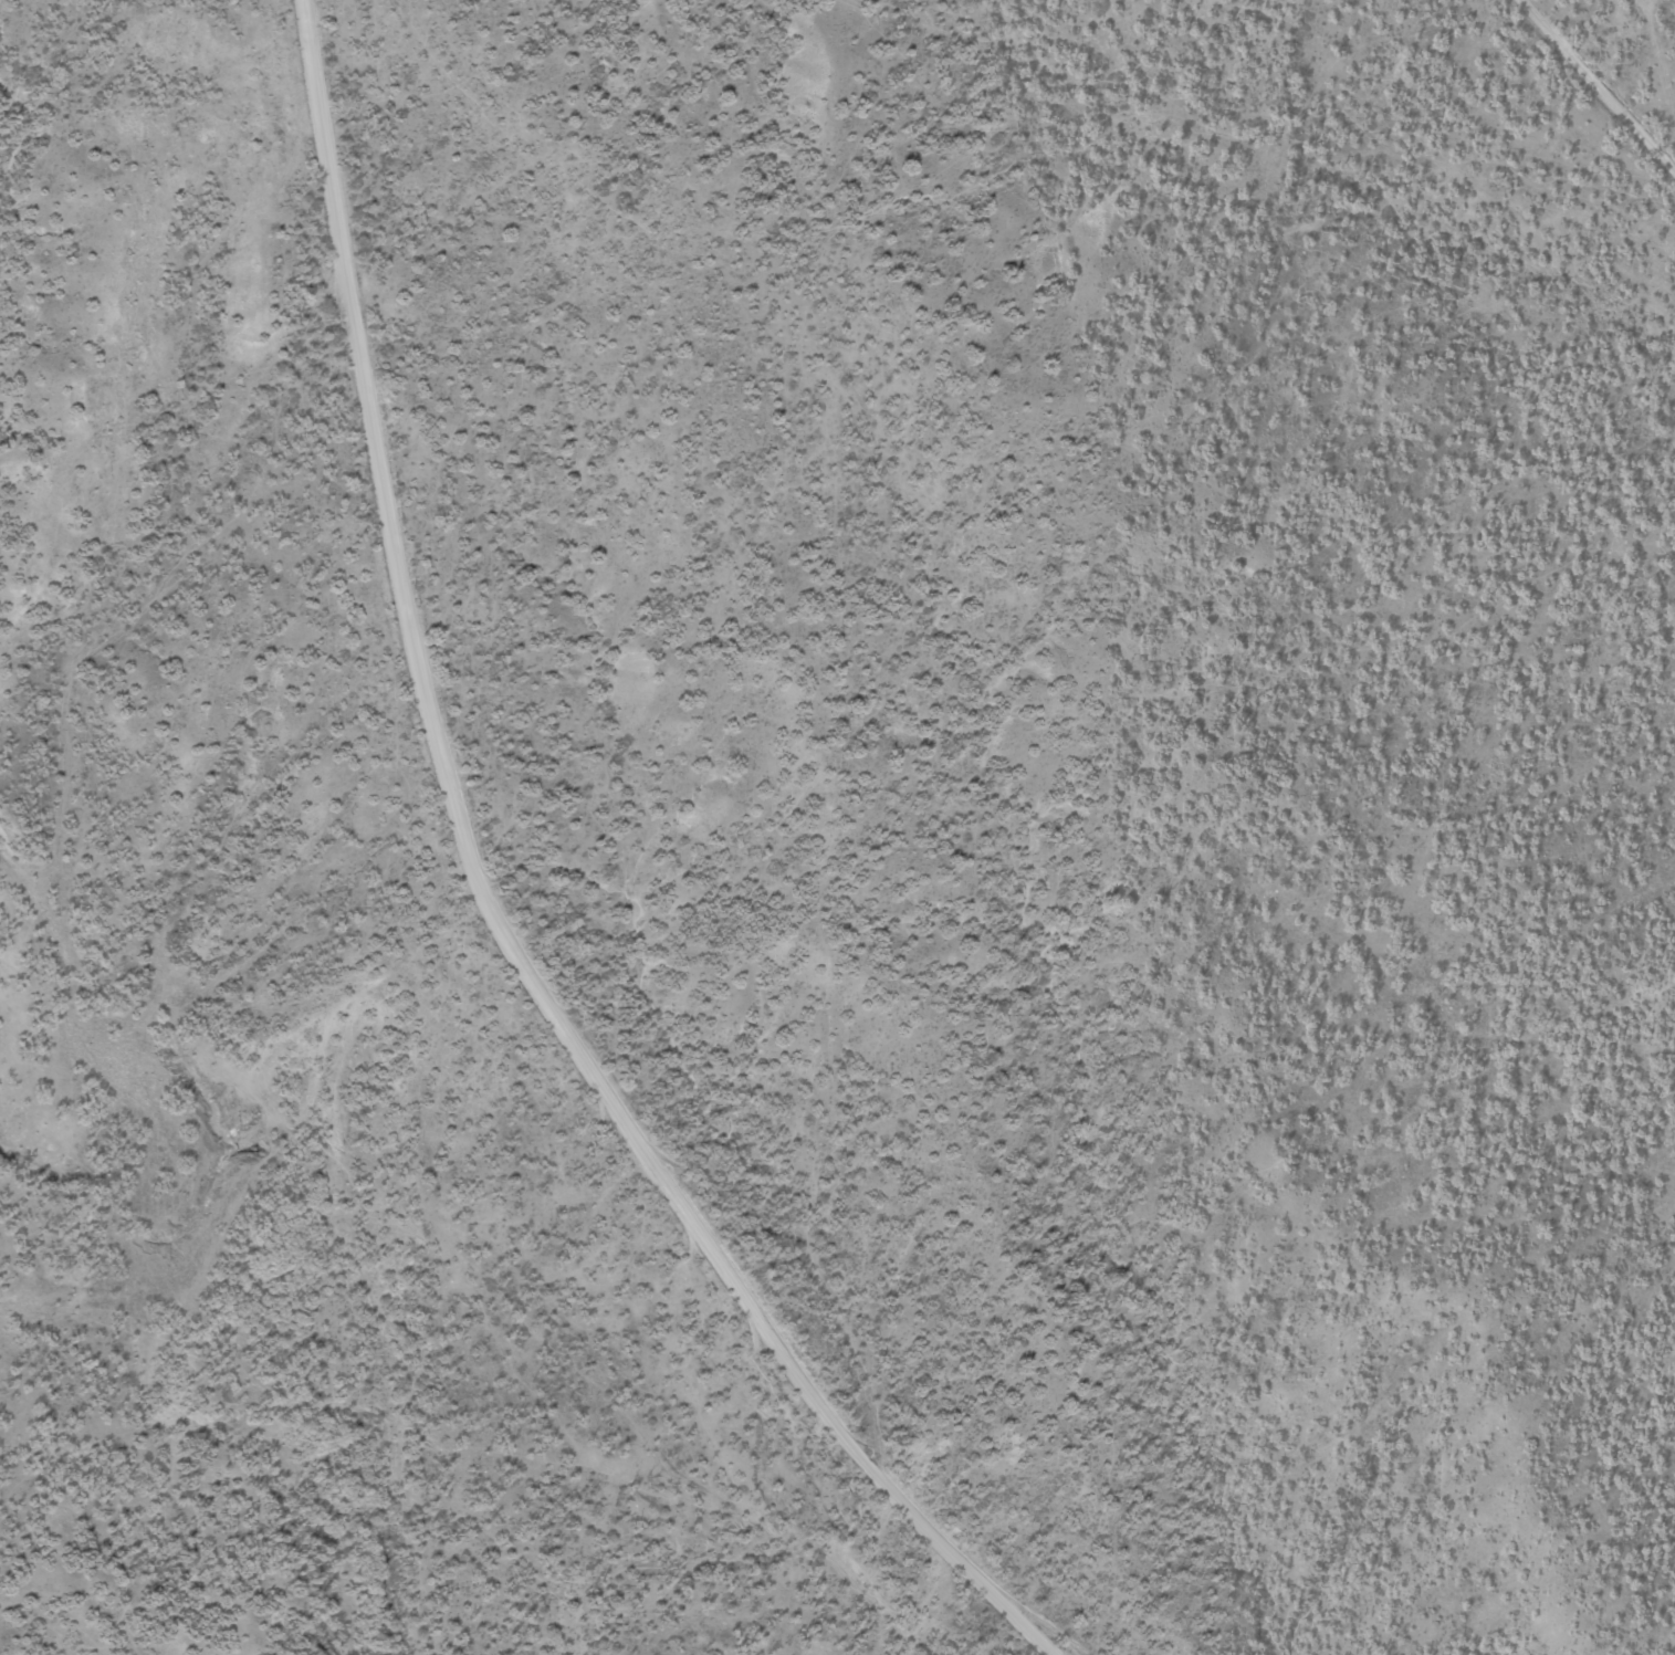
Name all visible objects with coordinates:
road: (1585, 96)
road: (501, 912)

